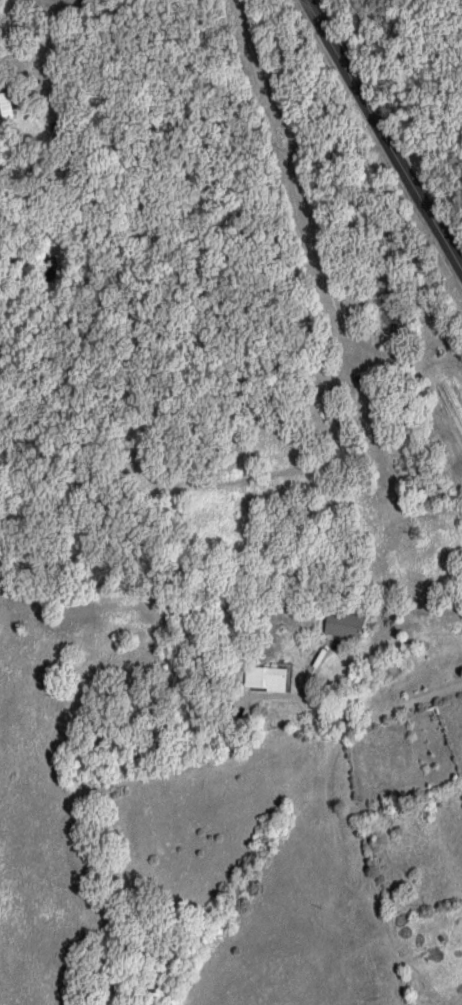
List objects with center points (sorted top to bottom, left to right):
road: (93, 15)
road: (82, 19)
building: (9, 106)
road: (380, 138)
road: (121, 274)
building: (352, 623)
building: (272, 676)
road: (349, 721)

